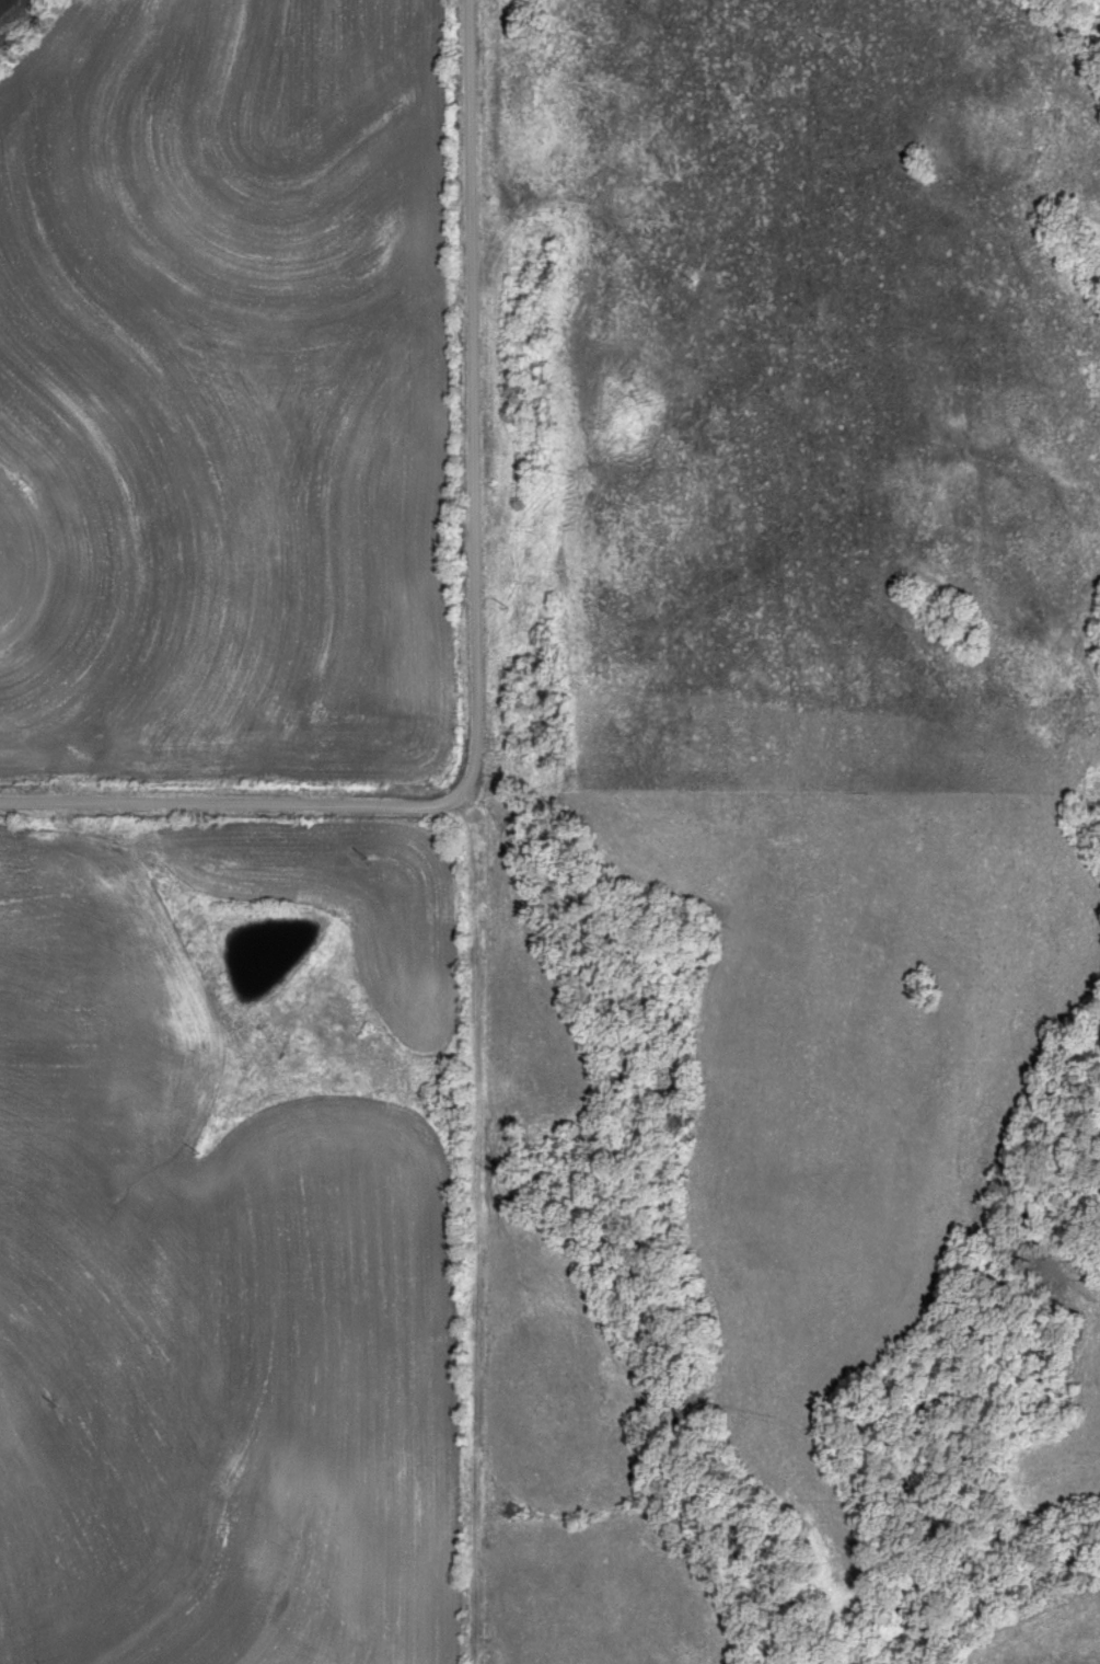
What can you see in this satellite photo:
road: (233, 803)
road: (468, 831)

